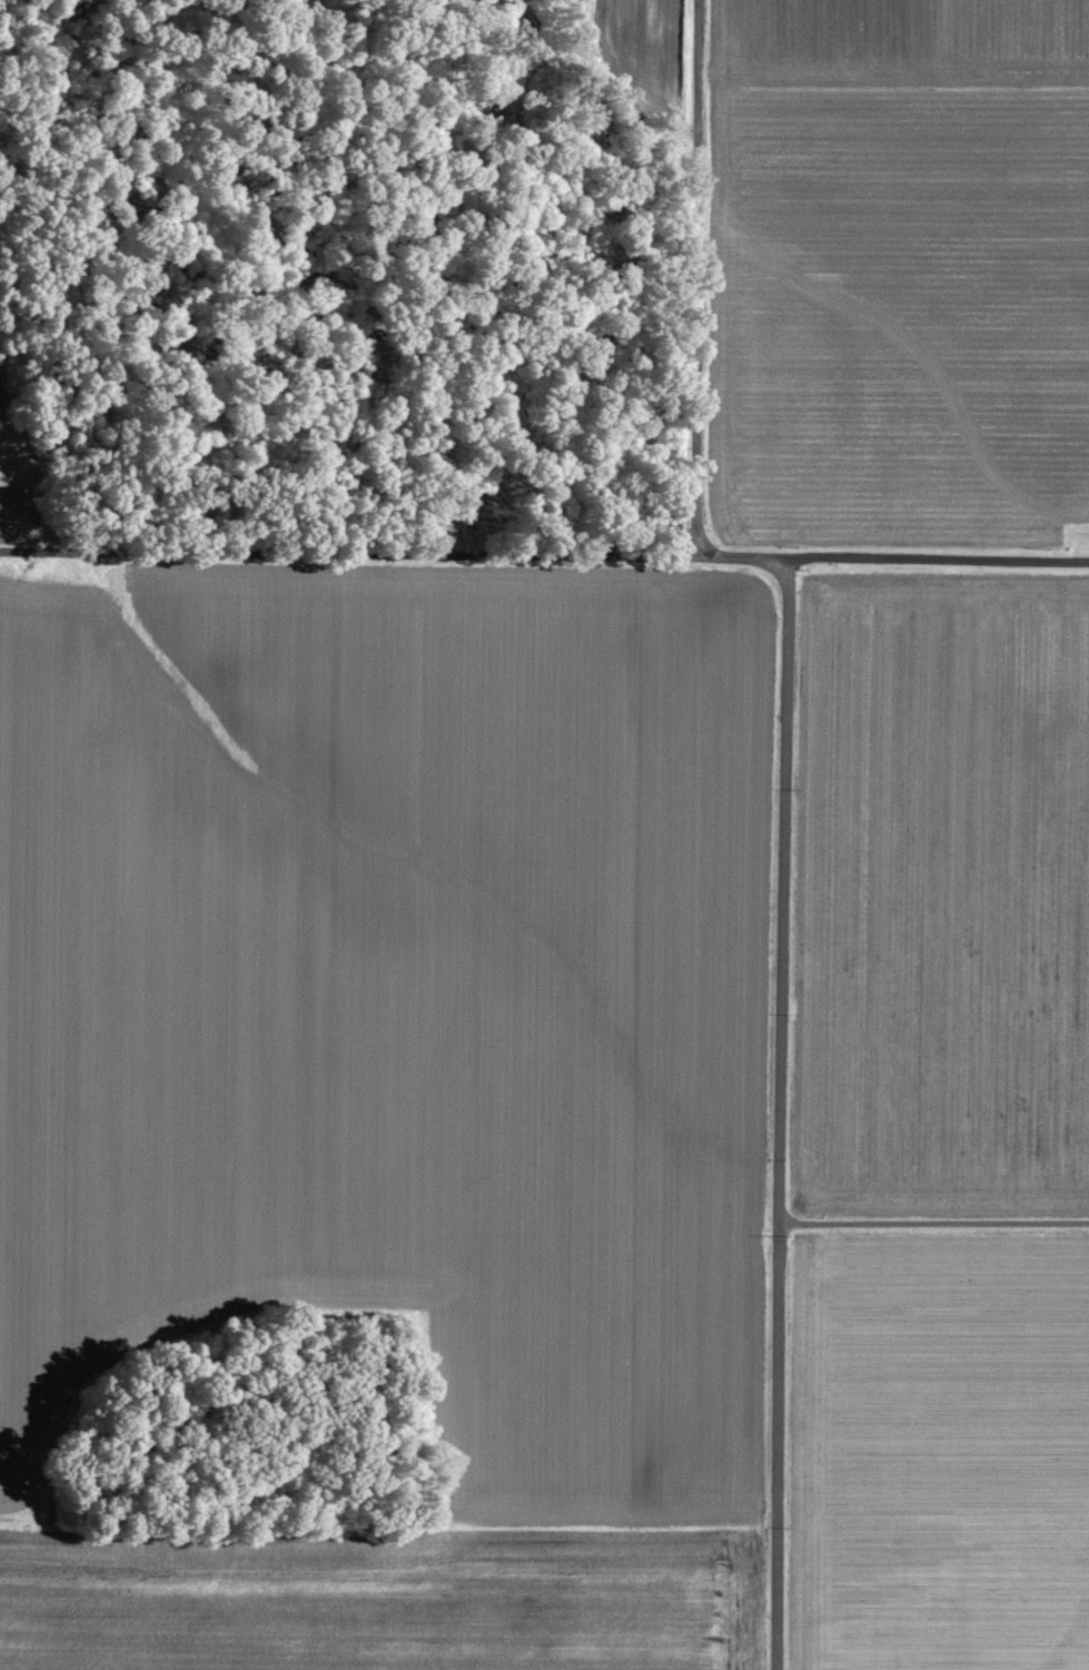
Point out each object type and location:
road: (696, 274)
road: (544, 547)
road: (779, 1113)
road: (933, 1222)
road: (756, 1401)

